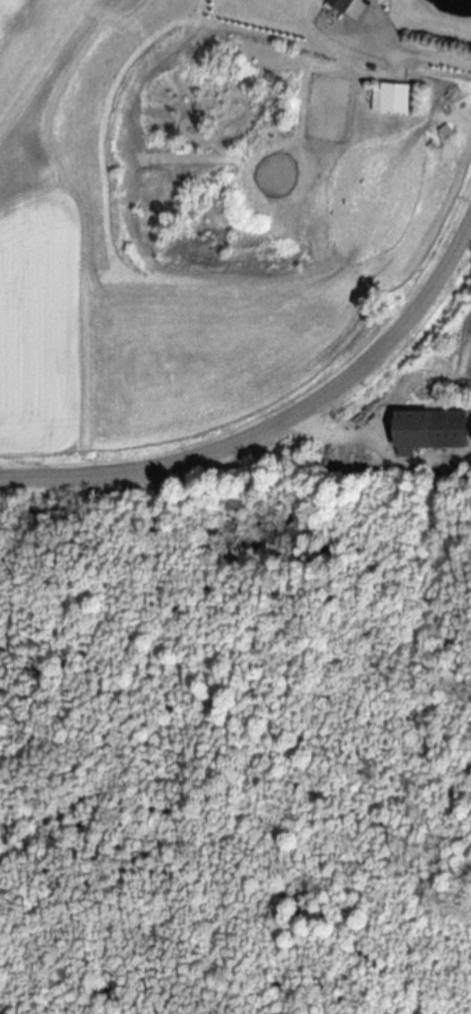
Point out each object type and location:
road: (412, 52)
building: (387, 100)
road: (279, 422)
building: (422, 432)
road: (329, 441)

